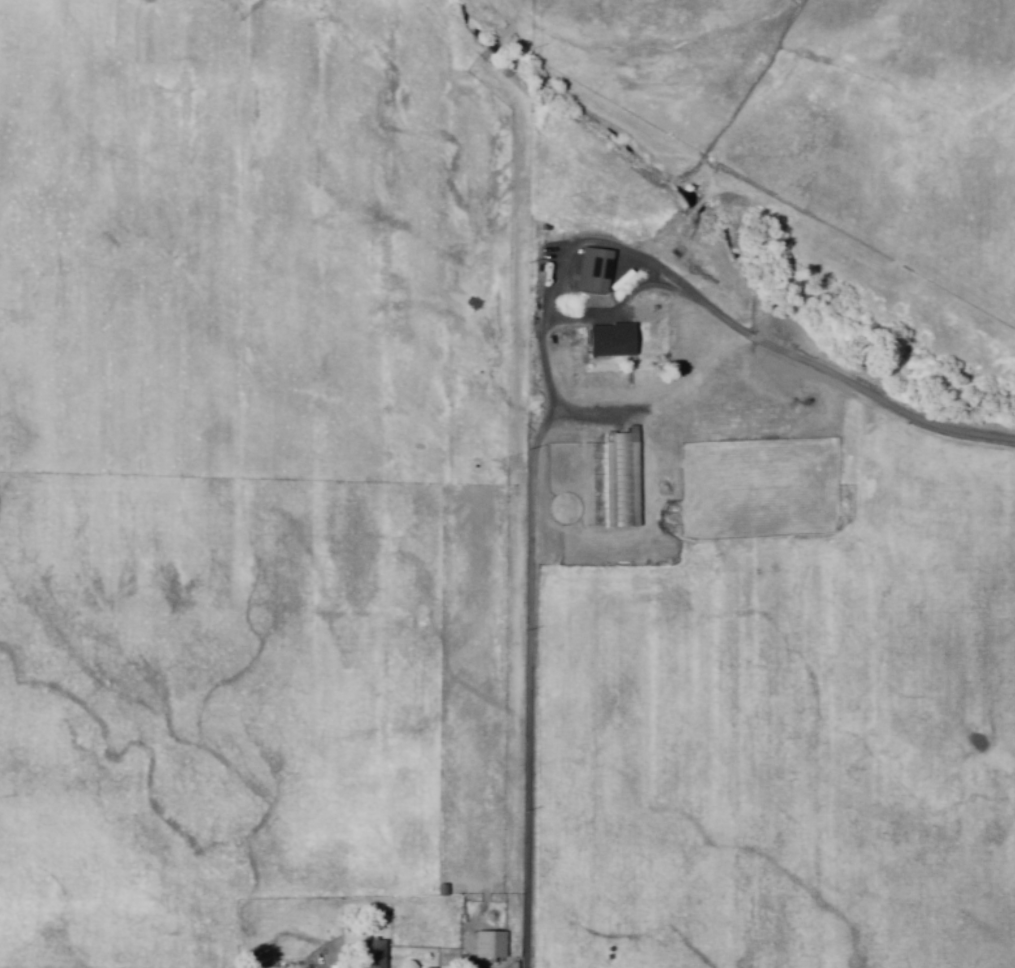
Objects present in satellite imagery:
building: (592, 270)
building: (607, 339)
road: (845, 382)
road: (533, 722)
building: (487, 944)
building: (369, 953)

